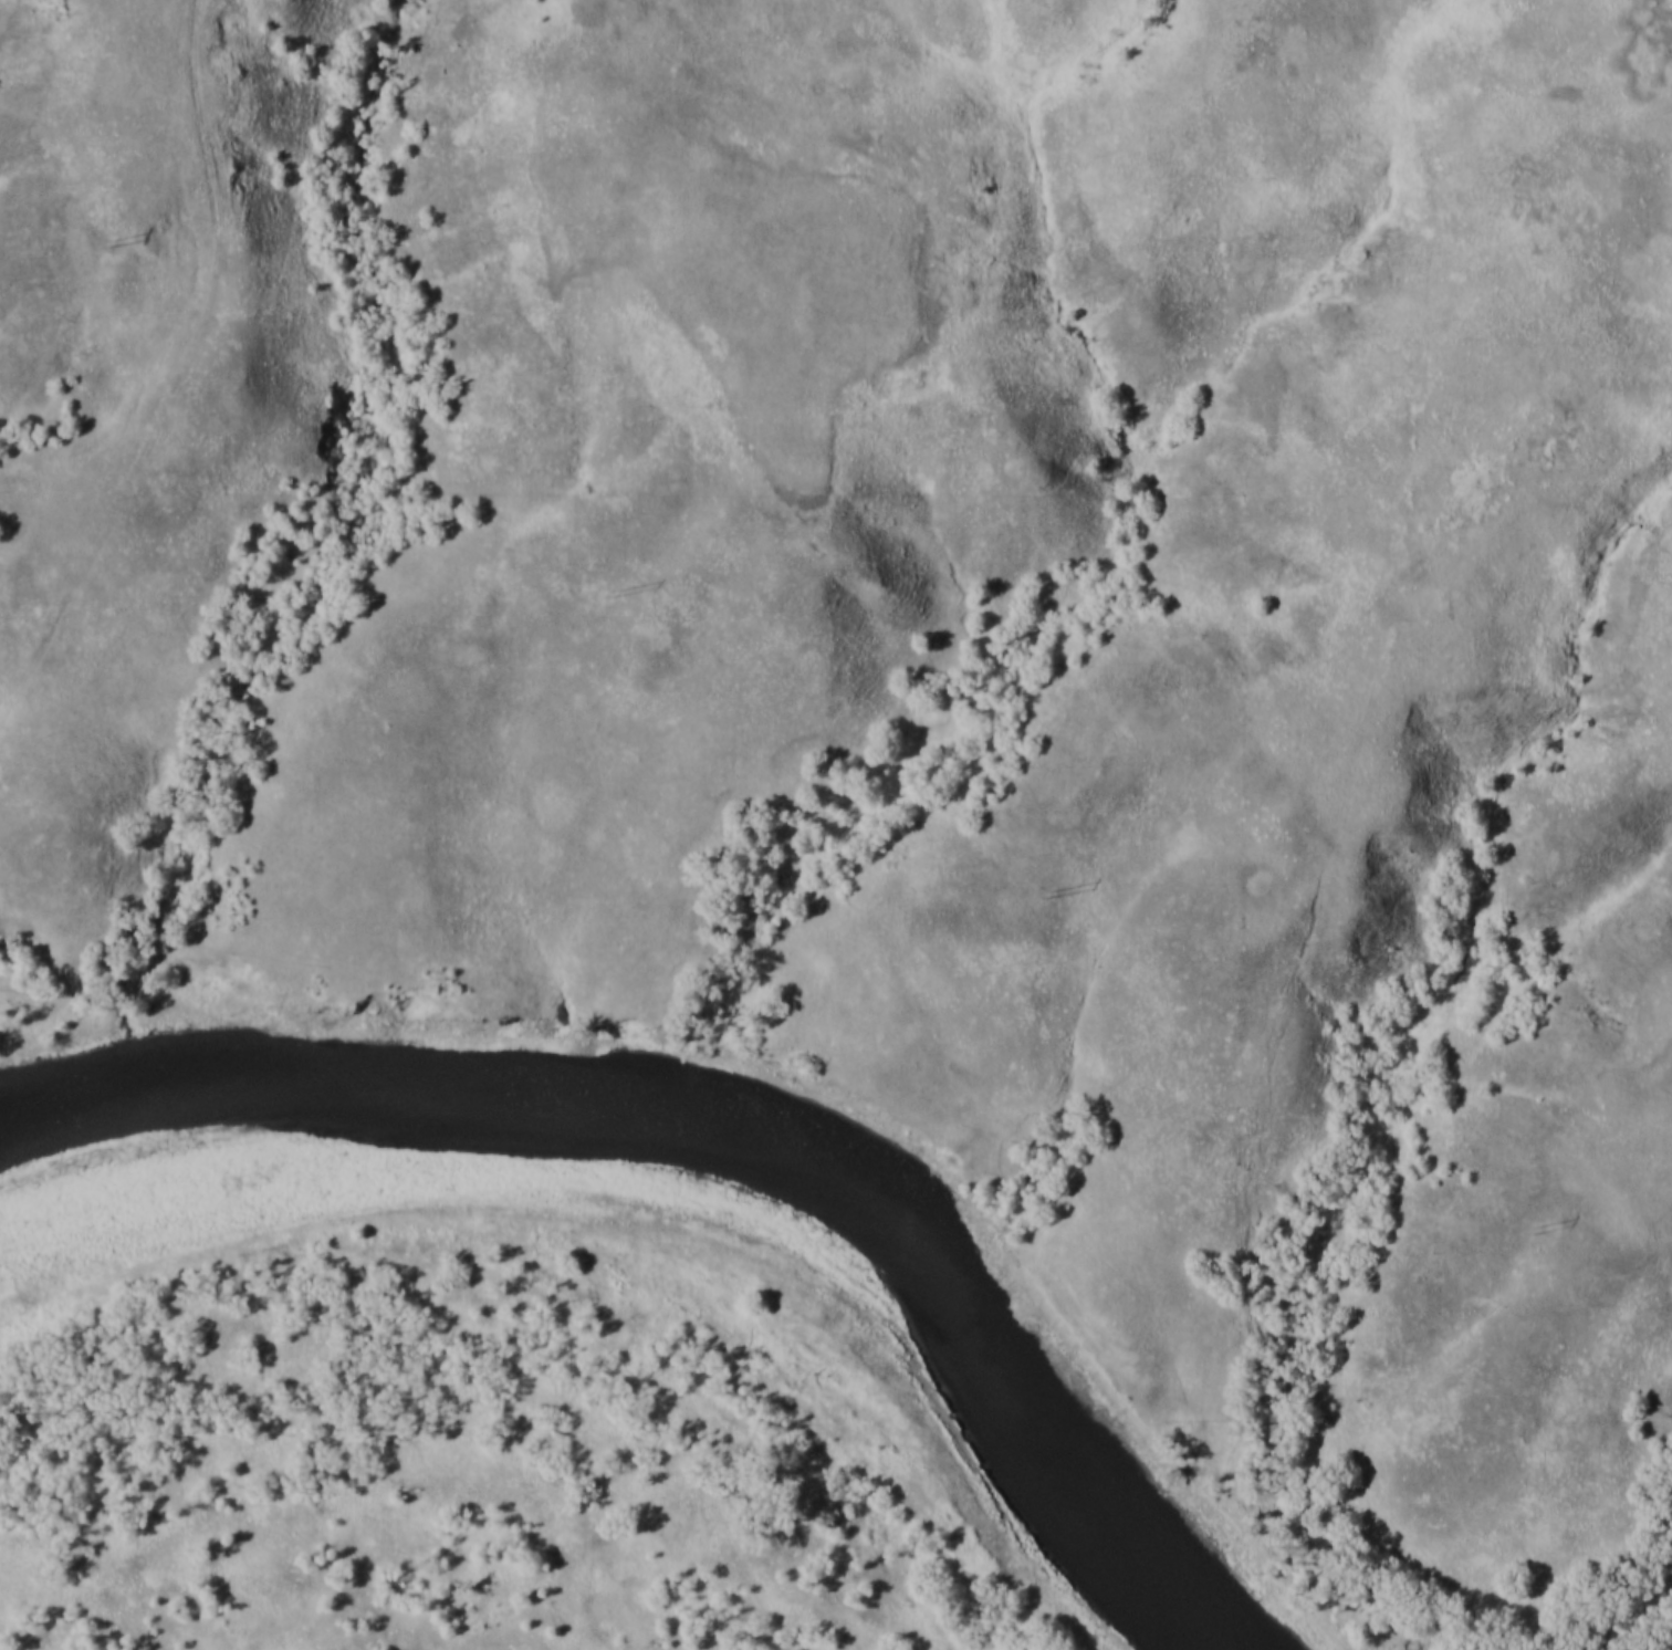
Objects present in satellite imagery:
river: (717, 1159)

